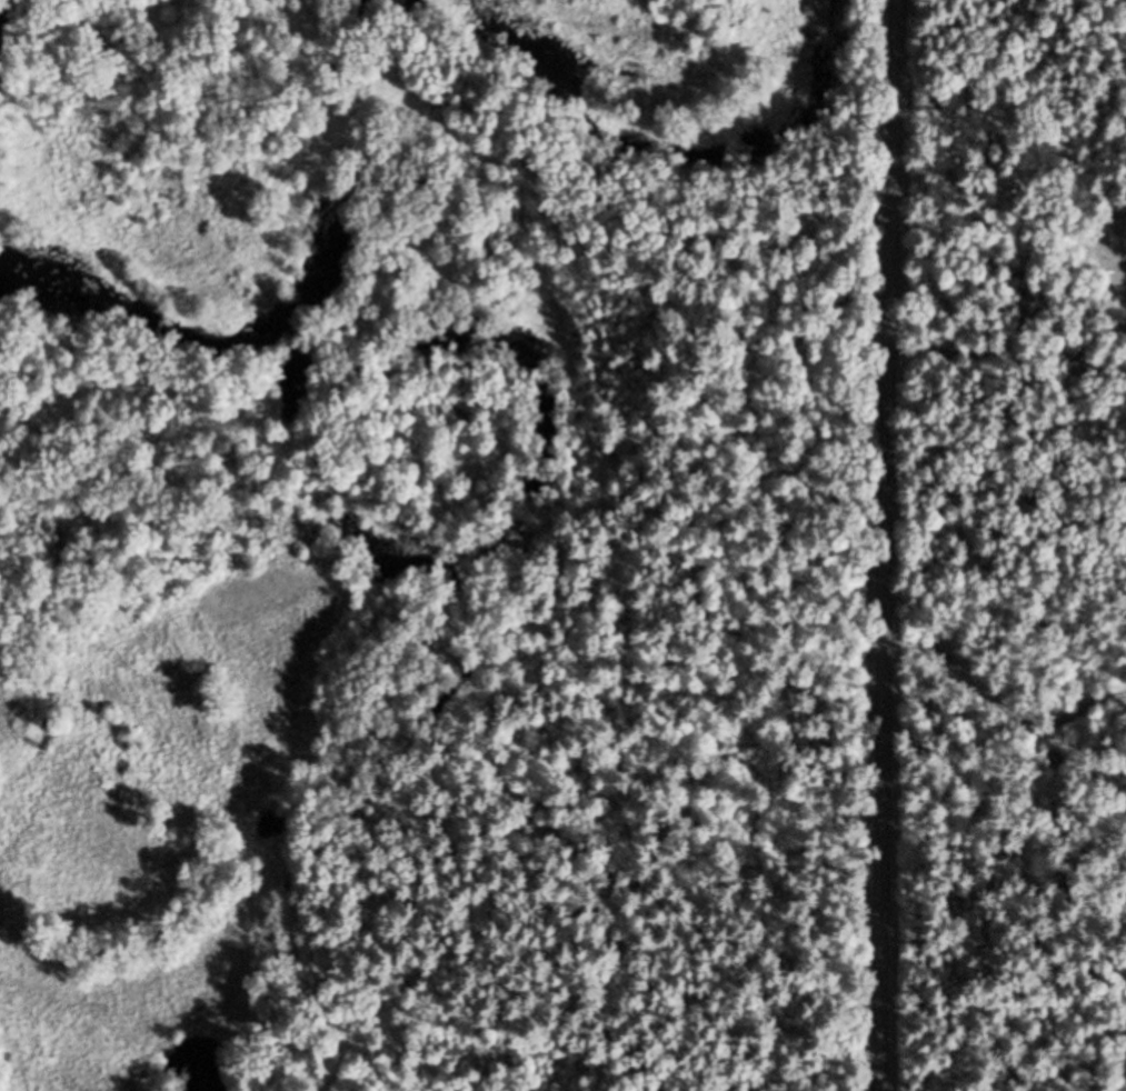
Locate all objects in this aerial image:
road: (885, 544)

